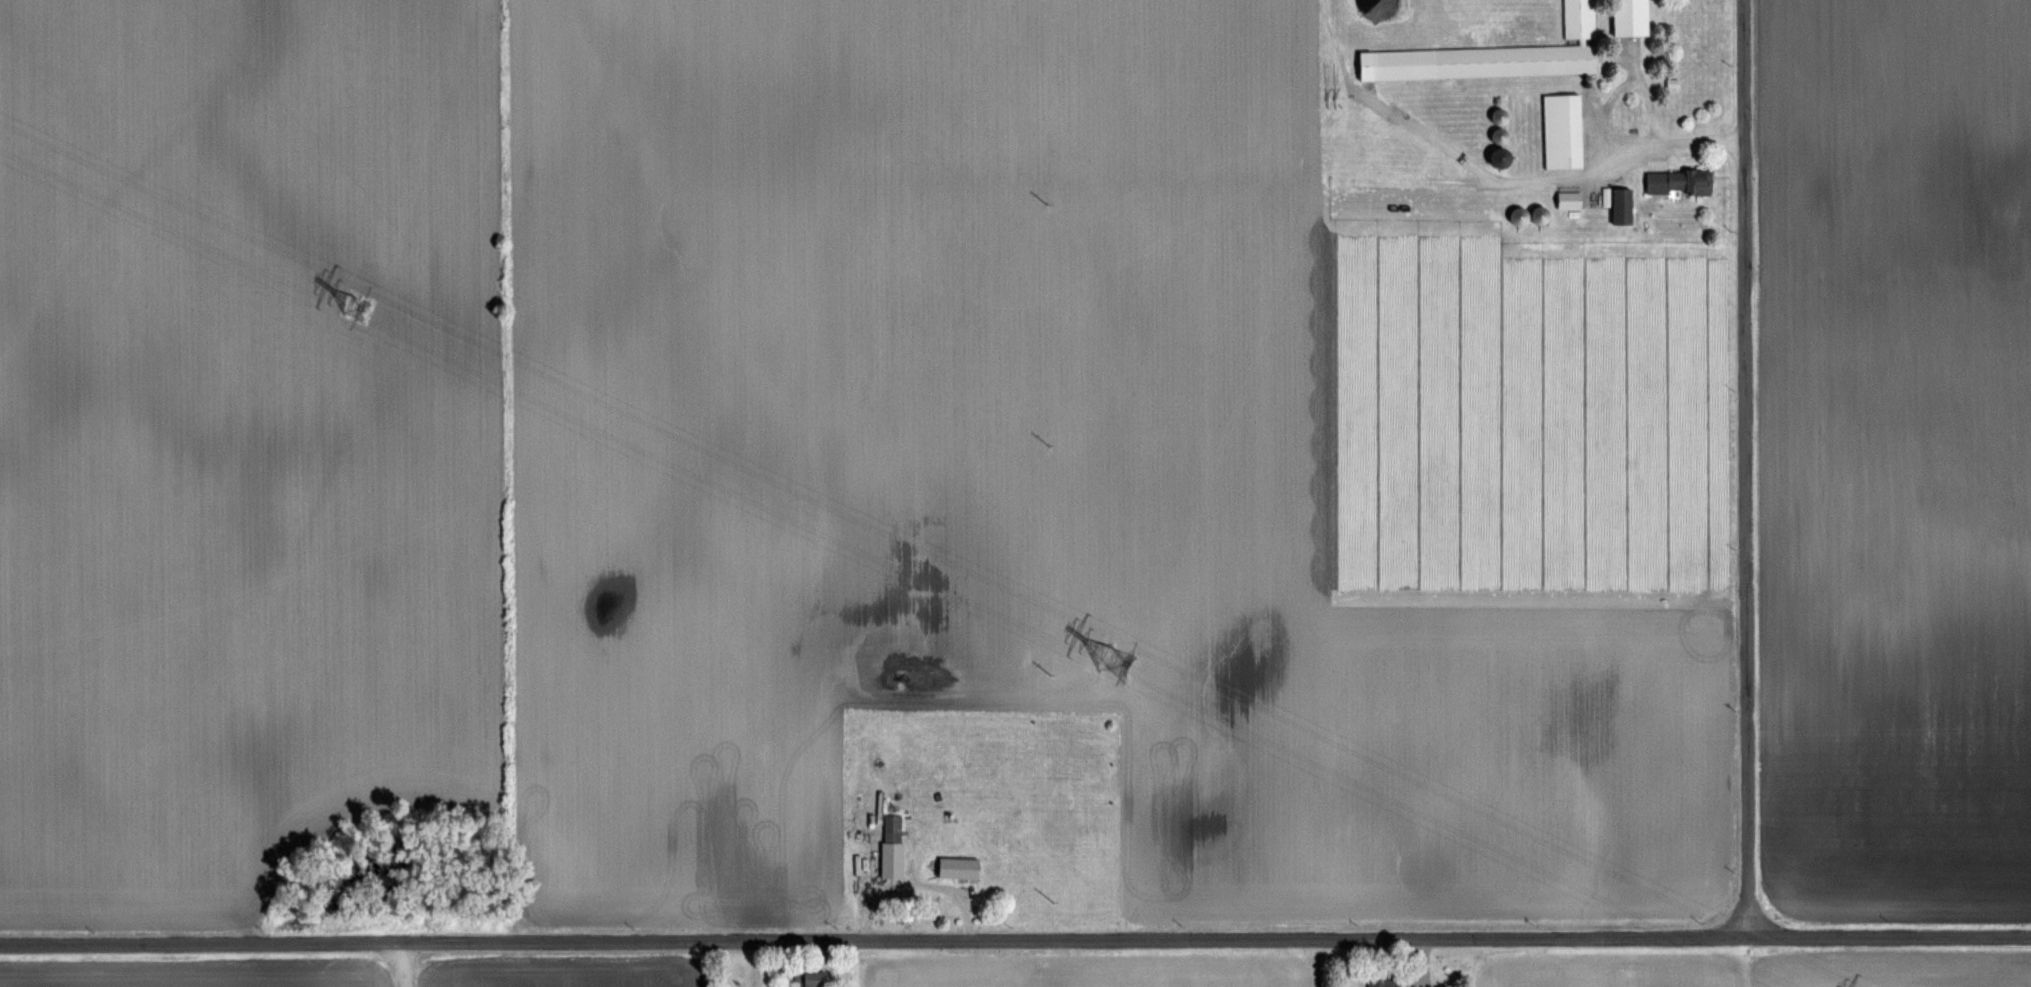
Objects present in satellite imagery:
building: (1626, 20)
building: (1496, 56)
building: (1501, 116)
building: (1564, 131)
building: (1503, 157)
road: (1565, 173)
building: (1680, 182)
building: (1571, 201)
building: (1624, 206)
building: (2010, 208)
building: (1543, 215)
building: (1522, 216)
road: (1887, 280)
power tower: (358, 309)
road: (1742, 468)
power tower: (1117, 661)
building: (893, 846)
road: (1015, 939)
road: (405, 964)
building: (814, 979)
building: (1384, 983)

